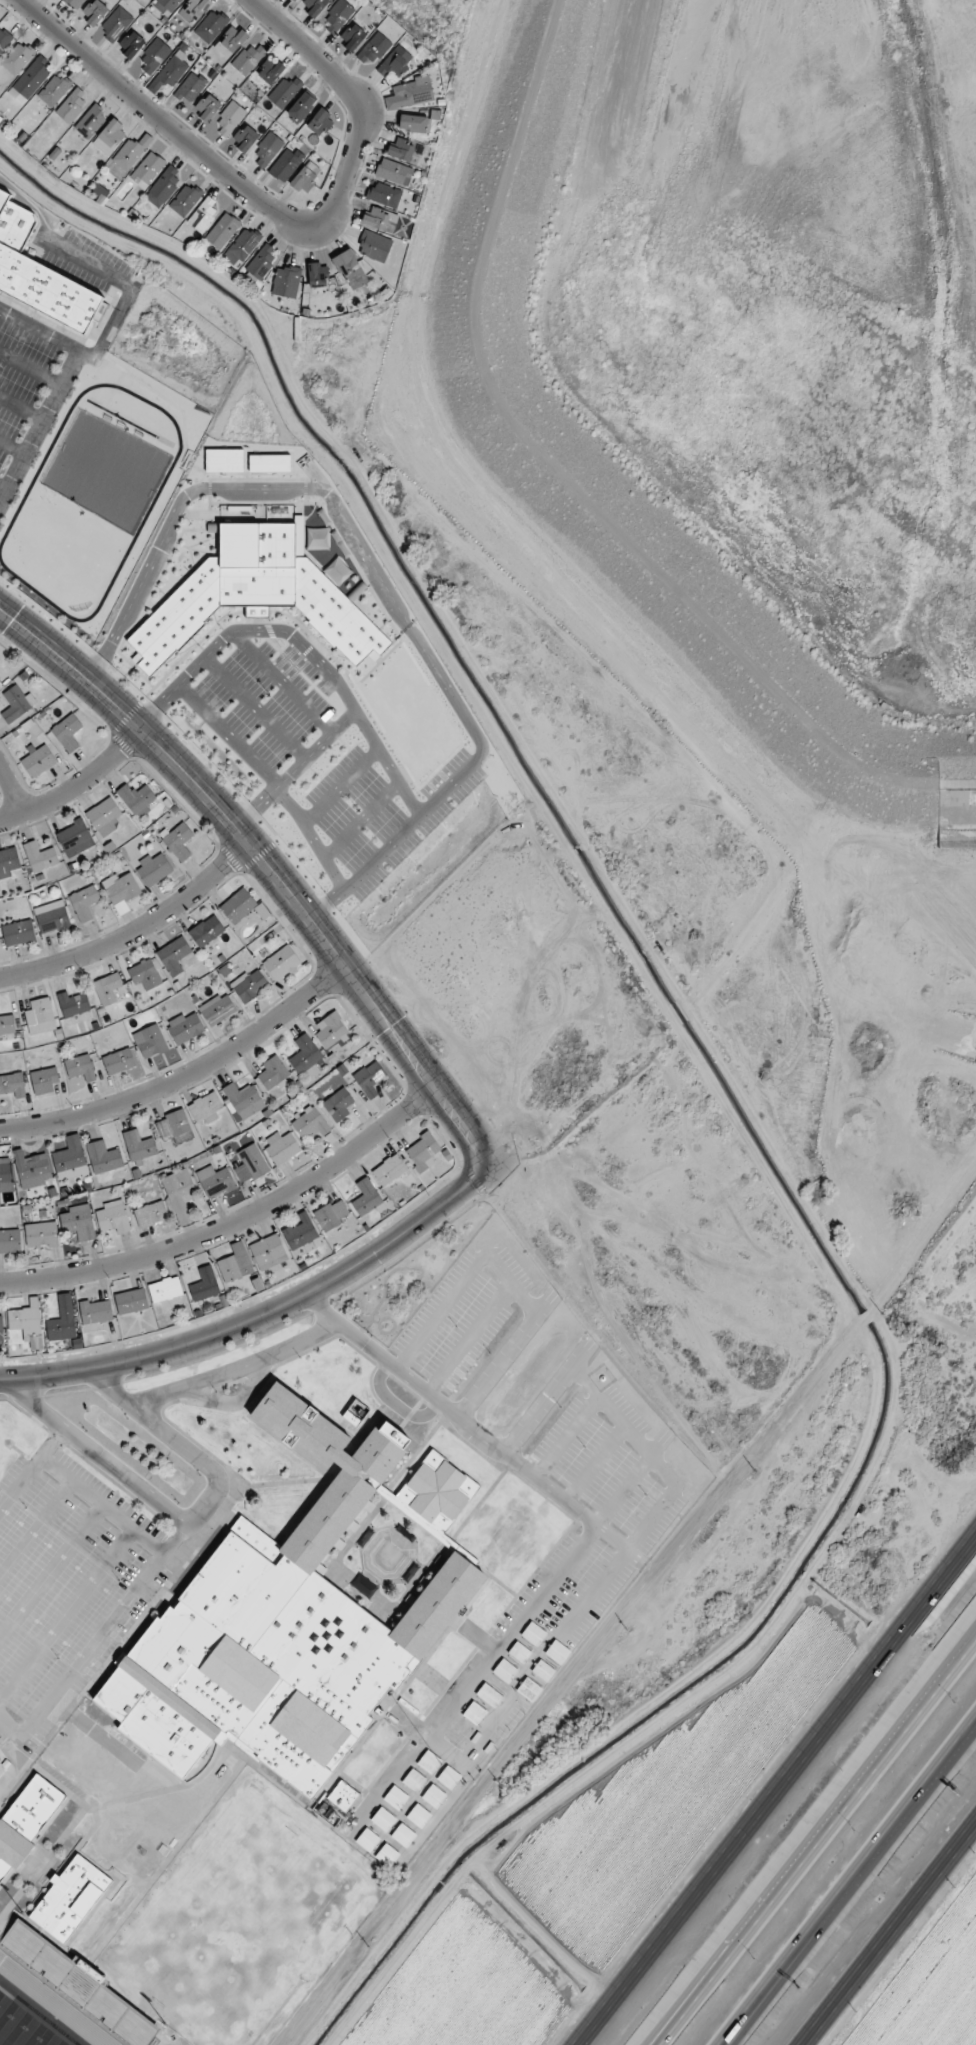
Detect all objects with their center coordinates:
building: (294, 0)
building: (75, 4)
building: (314, 6)
building: (94, 13)
building: (337, 16)
building: (115, 25)
building: (211, 26)
building: (352, 37)
building: (4, 38)
building: (231, 41)
building: (131, 44)
building: (374, 49)
building: (153, 56)
building: (18, 57)
building: (247, 59)
building: (395, 62)
building: (270, 71)
building: (170, 72)
building: (32, 77)
building: (191, 86)
building: (54, 90)
building: (284, 92)
building: (412, 93)
building: (73, 106)
building: (207, 107)
building: (301, 107)
building: (229, 118)
building: (91, 121)
building: (321, 121)
building: (412, 123)
building: (110, 136)
building: (245, 138)
building: (401, 149)
building: (267, 150)
building: (129, 153)
building: (286, 164)
building: (147, 169)
building: (394, 172)
building: (304, 180)
building: (163, 187)
building: (384, 194)
building: (185, 200)
road: (277, 209)
building: (204, 215)
building: (378, 219)
building: (223, 230)
building: (243, 246)
building: (374, 246)
building: (260, 264)
road: (93, 266)
building: (352, 272)
building: (318, 274)
building: (39, 275)
building: (286, 281)
road: (57, 384)
road: (377, 573)
building: (0, 682)
building: (16, 703)
building: (68, 733)
road: (254, 757)
building: (38, 761)
road: (78, 786)
road: (12, 788)
building: (137, 800)
road: (258, 806)
building: (104, 817)
building: (74, 838)
building: (179, 841)
building: (40, 857)
building: (8, 862)
road: (269, 866)
building: (153, 870)
building: (119, 888)
building: (84, 903)
building: (238, 906)
building: (52, 918)
road: (136, 931)
building: (206, 931)
building: (18, 933)
building: (173, 955)
building: (282, 964)
building: (145, 975)
building: (250, 987)
building: (107, 989)
building: (73, 1004)
building: (217, 1009)
building: (40, 1017)
building: (7, 1025)
building: (185, 1028)
building: (331, 1031)
building: (150, 1042)
building: (304, 1054)
building: (118, 1062)
building: (81, 1068)
road: (186, 1075)
building: (272, 1075)
building: (369, 1078)
building: (45, 1081)
building: (12, 1086)
building: (243, 1100)
building: (338, 1106)
building: (205, 1108)
building: (310, 1124)
building: (175, 1127)
building: (139, 1147)
building: (281, 1148)
building: (423, 1151)
building: (103, 1158)
building: (70, 1159)
building: (251, 1165)
building: (32, 1170)
building: (389, 1170)
building: (6, 1177)
building: (217, 1182)
building: (179, 1193)
building: (366, 1200)
building: (331, 1214)
building: (150, 1215)
building: (113, 1218)
road: (235, 1222)
building: (77, 1223)
building: (299, 1233)
building: (41, 1235)
building: (10, 1241)
building: (268, 1252)
building: (235, 1264)
road: (465, 1281)
building: (204, 1285)
building: (165, 1290)
building: (131, 1301)
building: (96, 1312)
road: (263, 1314)
parking lot: (462, 1314)
building: (24, 1319)
building: (62, 1320)
building: (1, 1328)
road: (468, 1338)
road: (503, 1358)
road: (236, 1363)
road: (546, 1399)
road: (395, 1404)
road: (465, 1422)
road: (565, 1435)
road: (53, 1442)
road: (594, 1463)
road: (75, 1485)
road: (185, 1519)
road: (36, 1527)
road: (632, 1540)
parking lot: (580, 1543)
road: (566, 1562)
road: (50, 1569)
parking lot: (65, 1585)
road: (66, 1613)
building: (290, 1619)
road: (103, 1629)
road: (566, 1689)
building: (487, 1695)
building: (473, 1713)
road: (9, 1727)
building: (459, 1732)
building: (485, 1740)
building: (470, 1759)
building: (428, 1762)
building: (447, 1776)
building: (413, 1780)
road: (777, 1790)
building: (341, 1795)
building: (433, 1796)
building: (394, 1797)
building: (417, 1815)
building: (25, 1819)
building: (382, 1819)
building: (402, 1835)
building: (366, 1840)
road: (820, 1843)
building: (385, 1855)
road: (851, 1885)
building: (69, 1897)
park: (225, 1916)
road: (889, 1933)
building: (16, 1939)
stadium: (63, 1997)
track: (53, 2003)
road: (763, 2006)
road: (678, 2024)
park: (23, 2027)
parking lot: (176, 2040)

